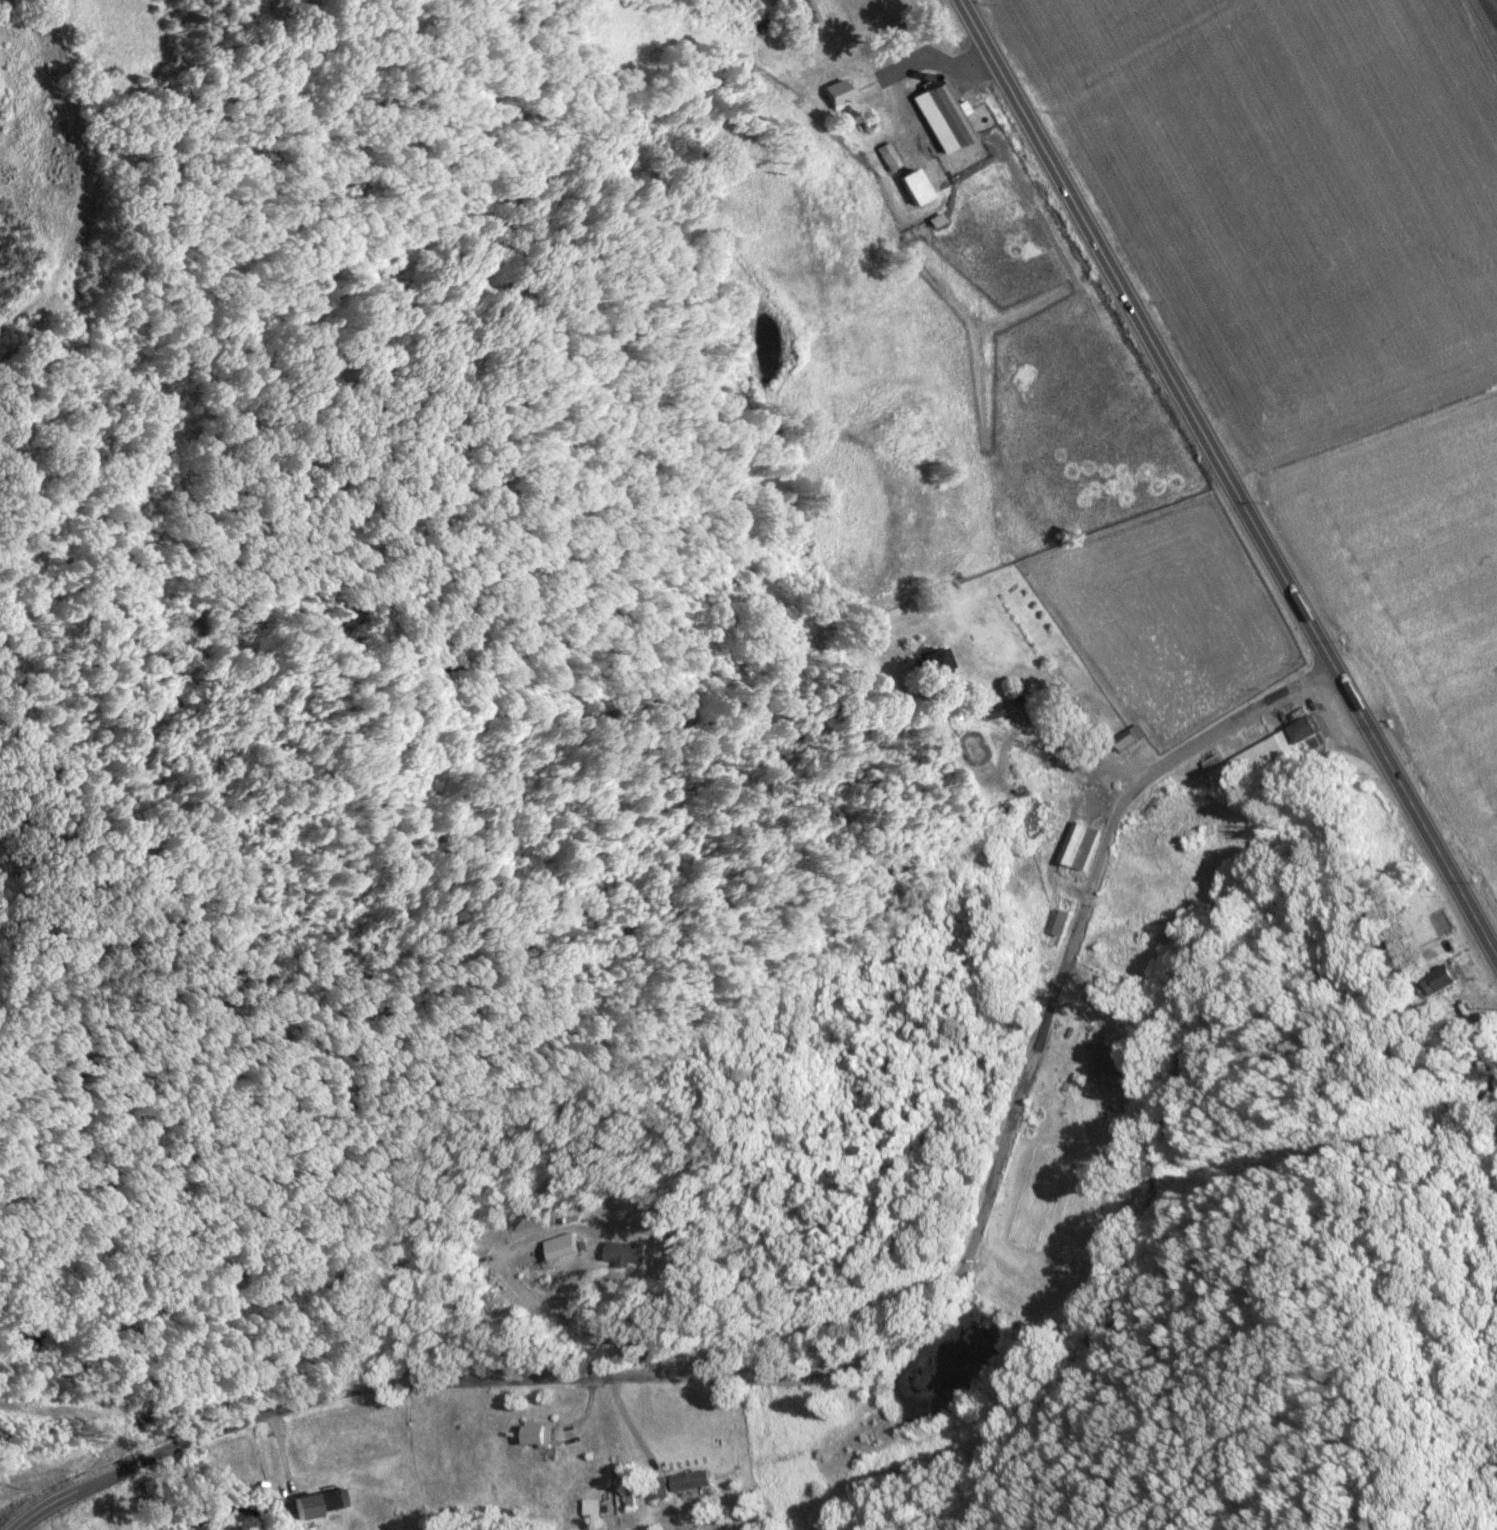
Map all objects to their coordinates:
building: (943, 118)
building: (916, 188)
road: (1227, 479)
building: (938, 662)
building: (994, 709)
building: (1260, 752)
building: (1080, 846)
building: (1059, 922)
building: (1446, 977)
building: (1111, 1066)
road: (853, 1345)
building: (538, 1435)
building: (691, 1481)
building: (659, 1488)
building: (330, 1501)
building: (592, 1508)

